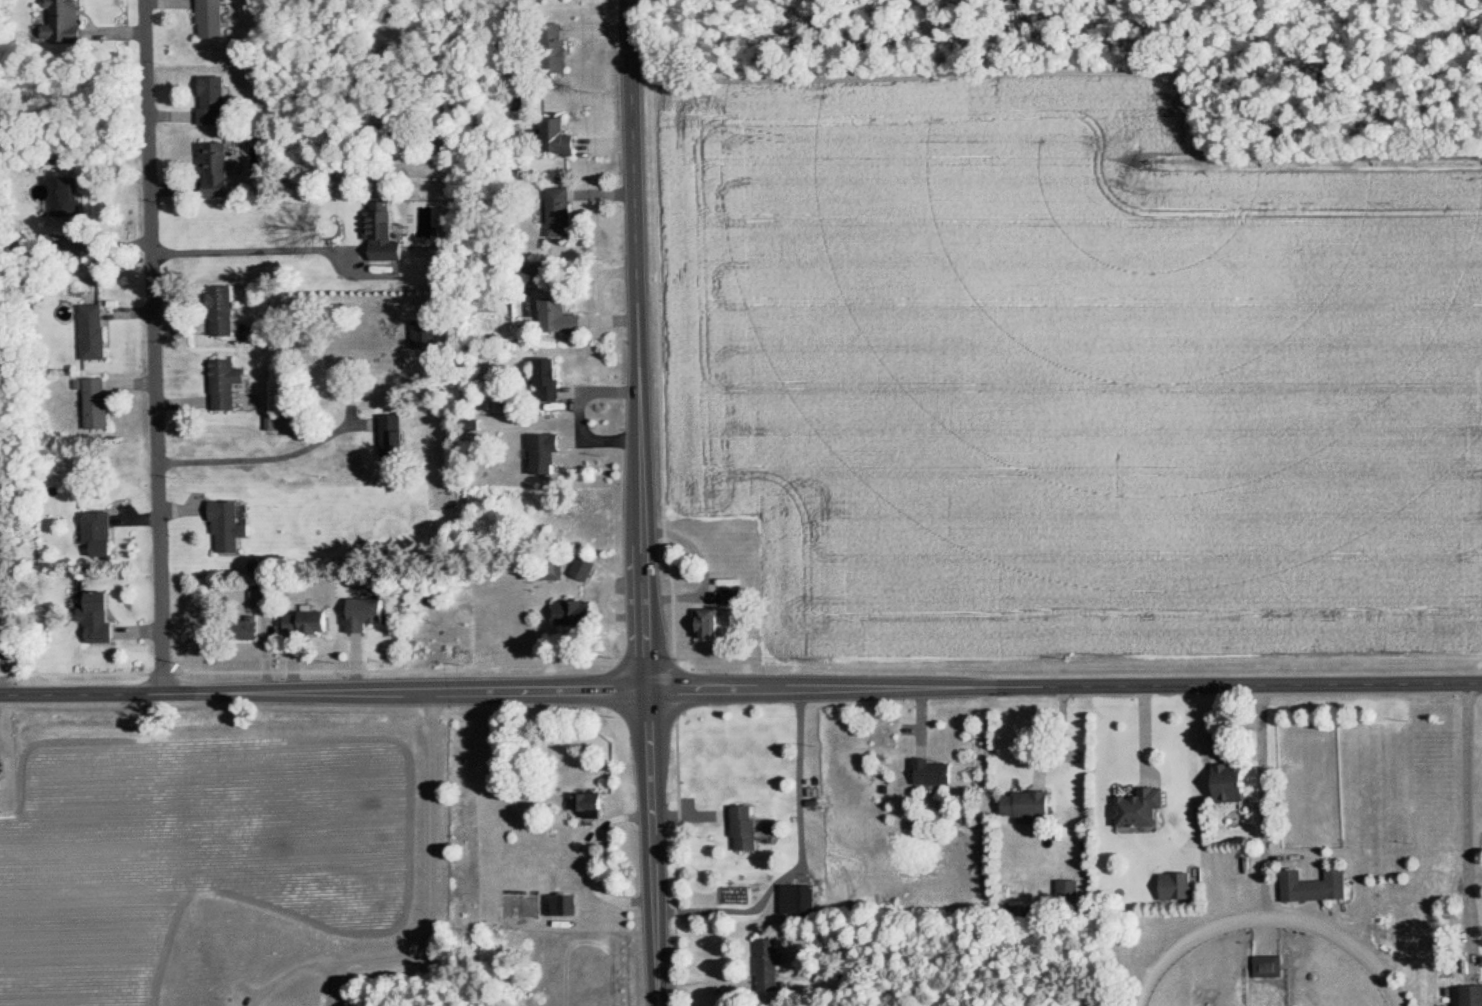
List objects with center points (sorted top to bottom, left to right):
building: (214, 19)
building: (64, 22)
building: (216, 99)
building: (566, 140)
building: (221, 168)
building: (70, 197)
building: (567, 201)
building: (387, 234)
road: (258, 253)
building: (567, 317)
building: (95, 331)
road: (154, 346)
building: (556, 381)
building: (229, 384)
building: (97, 402)
building: (395, 437)
building: (553, 453)
road: (269, 459)
road: (647, 502)
building: (231, 526)
building: (101, 532)
building: (258, 597)
building: (734, 600)
building: (368, 614)
building: (100, 617)
building: (308, 622)
building: (709, 625)
road: (1, 674)
road: (741, 691)
road: (1192, 768)
building: (934, 773)
building: (1225, 784)
road: (1264, 796)
building: (597, 804)
building: (1026, 805)
building: (1137, 810)
road: (1468, 825)
building: (748, 828)
road: (801, 858)
road: (590, 862)
building: (1172, 886)
building: (1311, 886)
building: (1070, 892)
building: (801, 900)
road: (433, 902)
building: (571, 906)
building: (770, 965)
building: (1265, 967)
building: (1470, 995)

